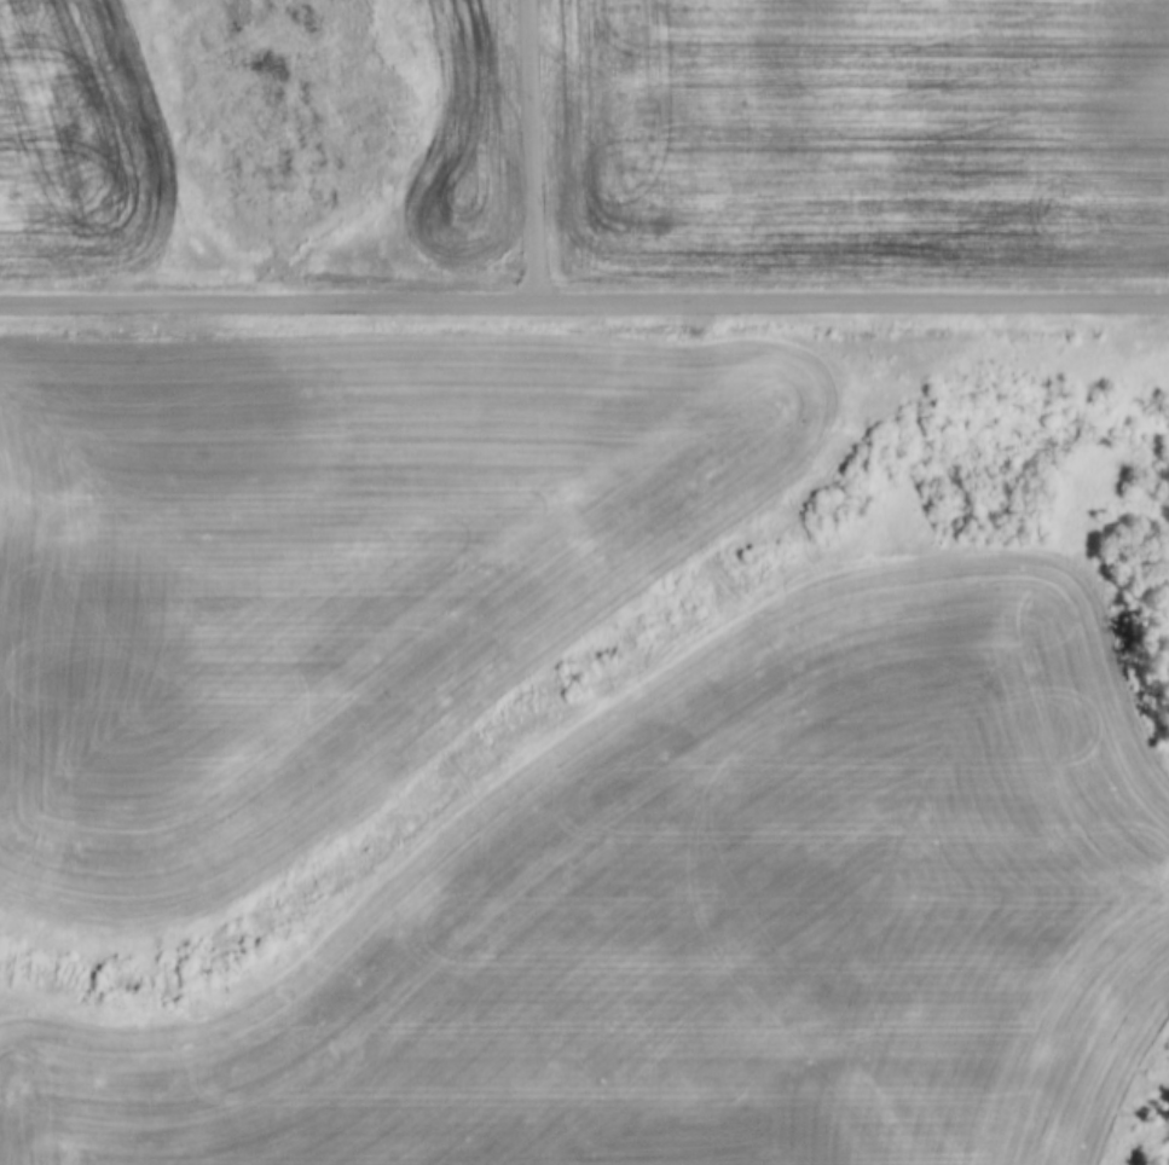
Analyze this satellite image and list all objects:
road: (584, 301)

